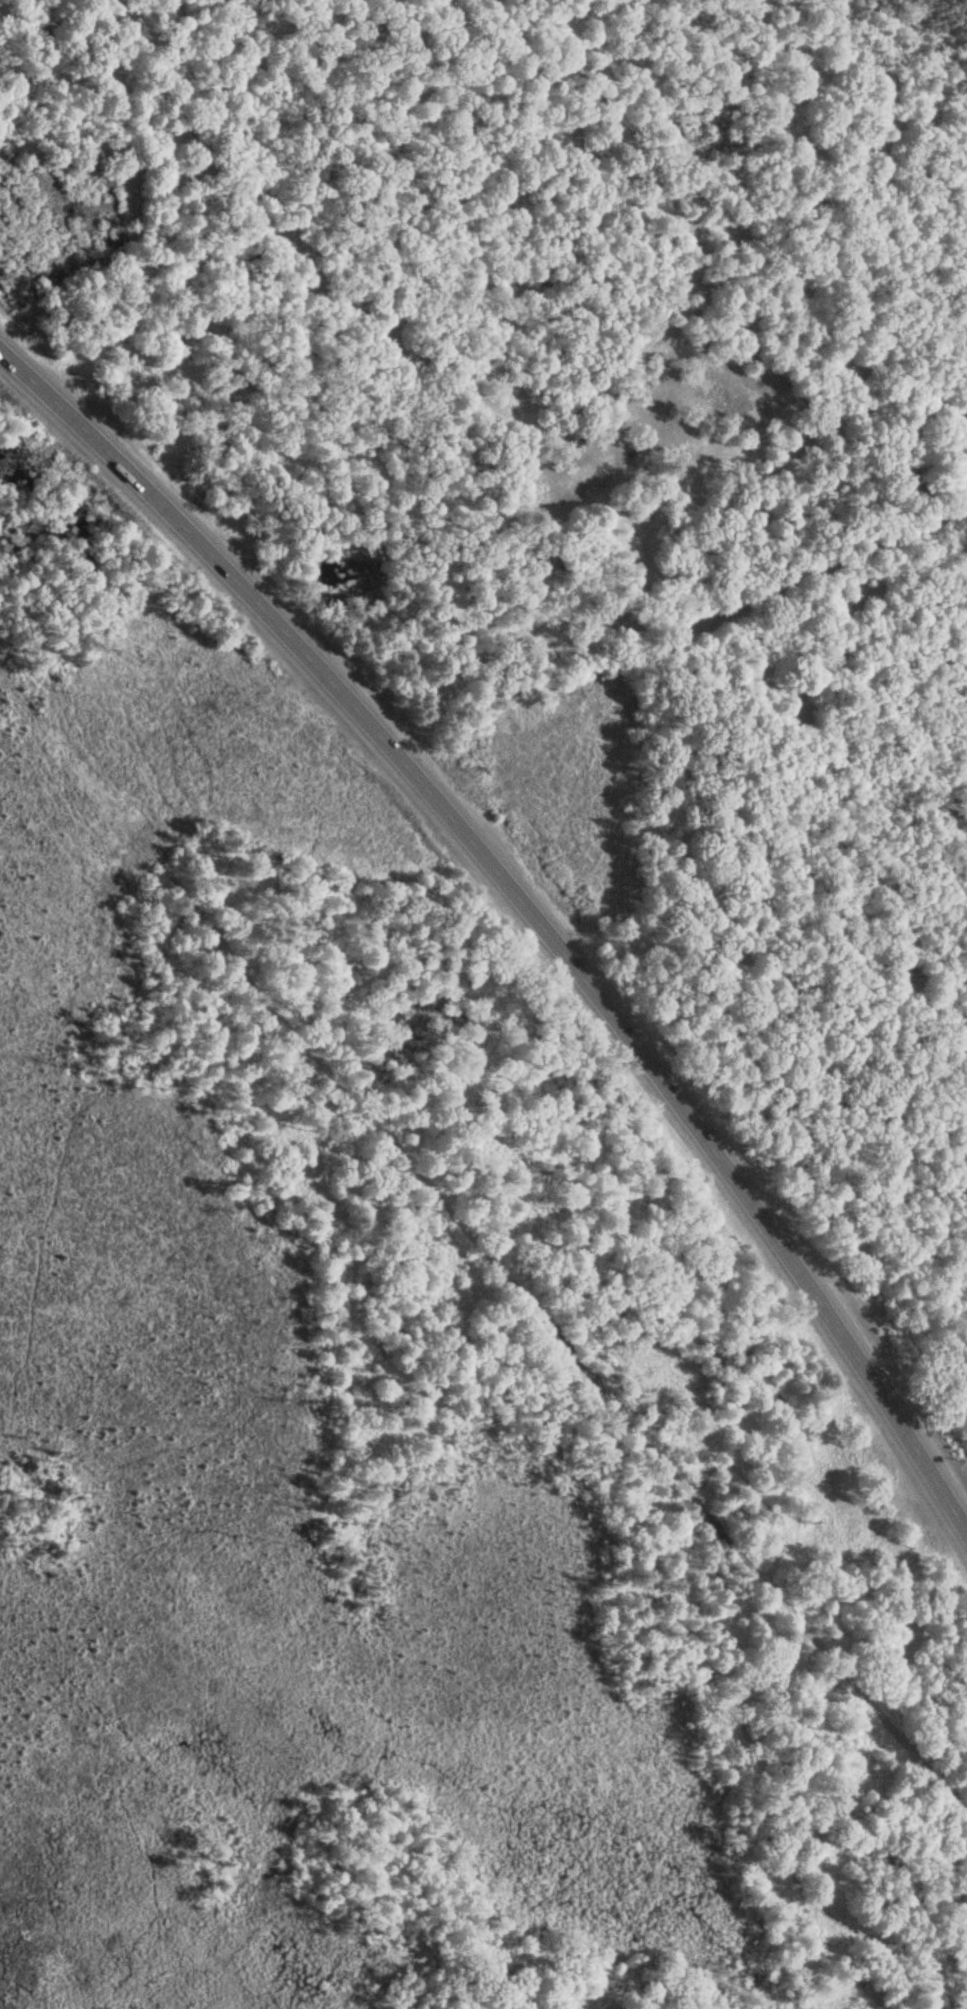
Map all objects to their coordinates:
road: (660, 622)
road: (524, 903)

